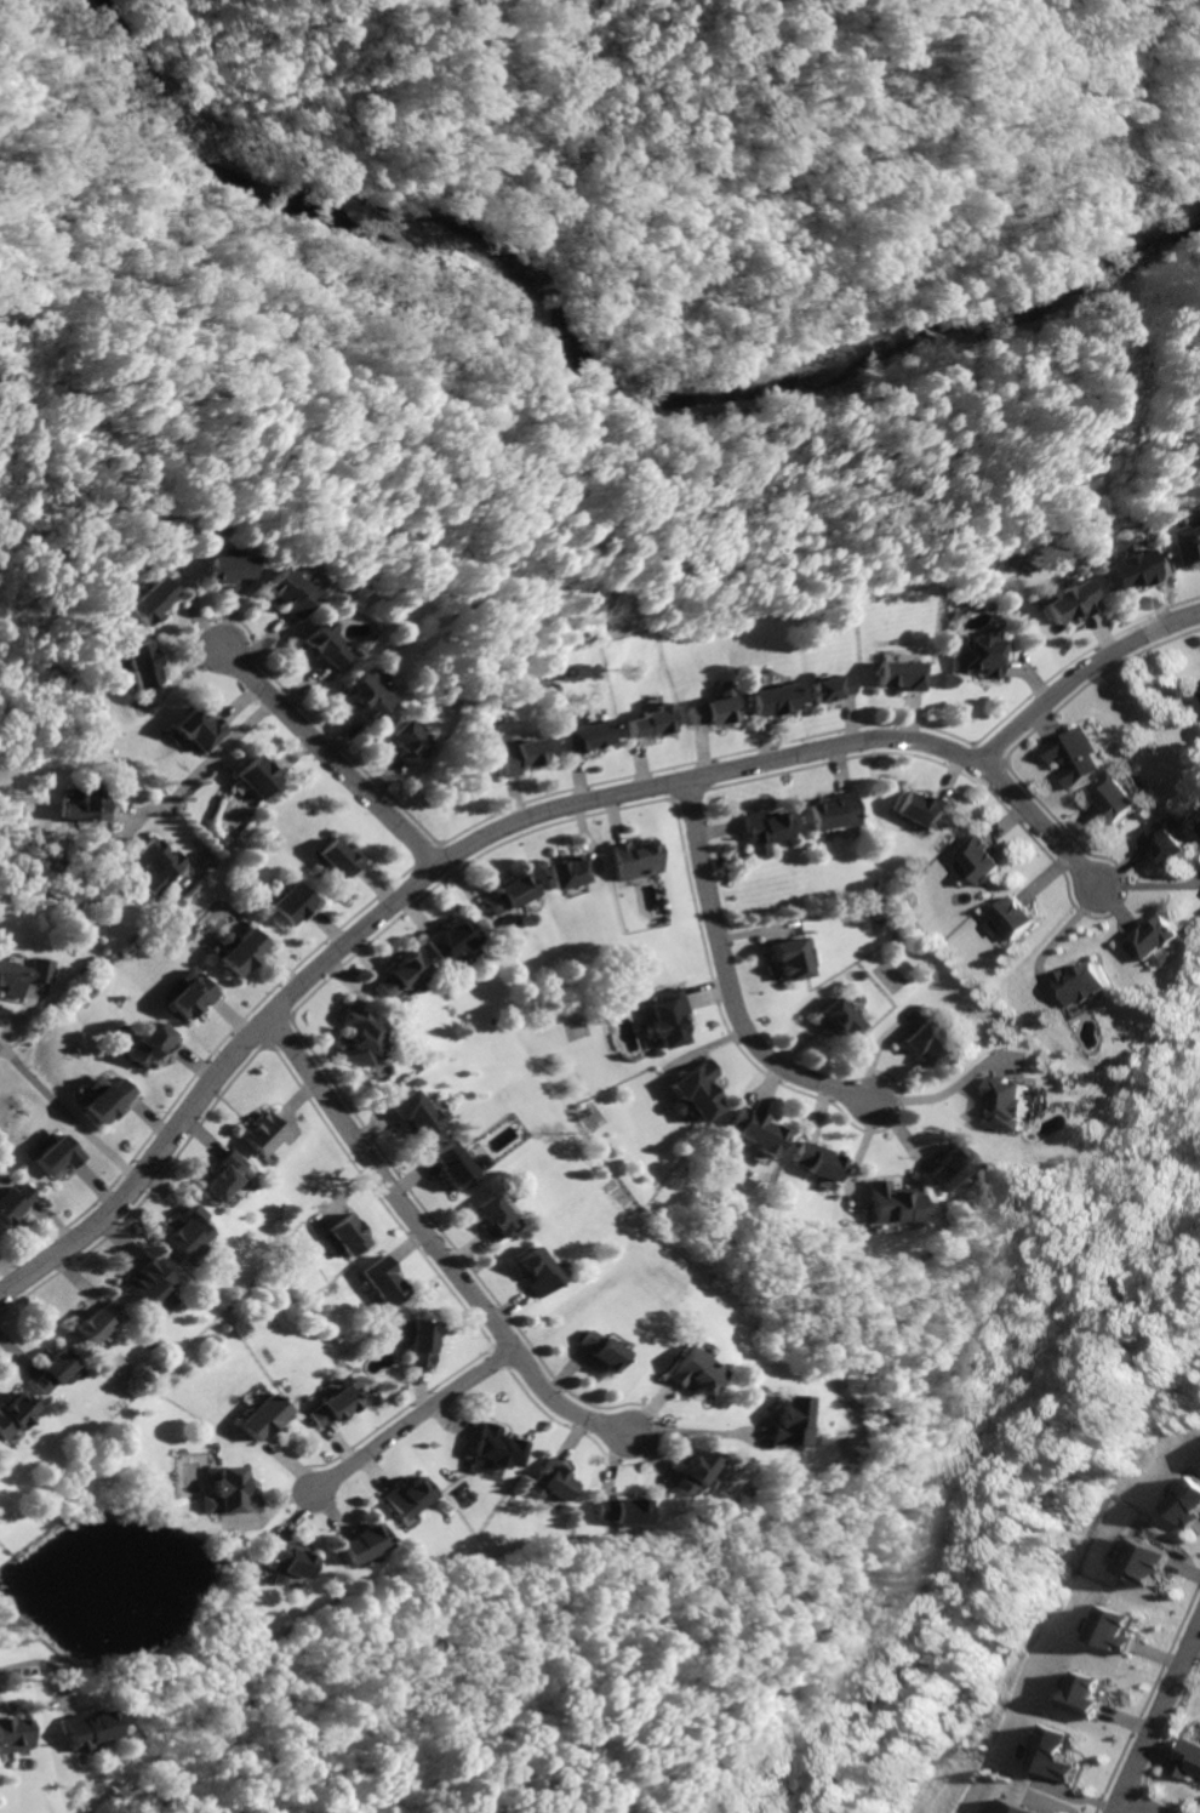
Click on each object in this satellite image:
building: (1184, 537)
building: (215, 565)
building: (1124, 572)
building: (282, 594)
building: (147, 602)
building: (1063, 603)
building: (319, 644)
building: (975, 657)
building: (141, 665)
building: (896, 675)
road: (1081, 675)
building: (828, 688)
building: (1199, 689)
building: (365, 697)
building: (768, 701)
building: (704, 713)
building: (644, 724)
building: (199, 729)
building: (578, 737)
building: (405, 742)
road: (217, 752)
building: (513, 756)
building: (1075, 756)
road: (327, 758)
building: (256, 776)
building: (1119, 802)
building: (87, 805)
building: (925, 809)
building: (839, 811)
road: (138, 814)
building: (767, 831)
road: (490, 834)
building: (1166, 843)
road: (205, 848)
building: (338, 857)
building: (155, 860)
building: (635, 860)
building: (978, 860)
building: (566, 871)
road: (1148, 886)
building: (509, 895)
building: (288, 903)
building: (1013, 918)
building: (1159, 939)
building: (448, 940)
road: (1045, 948)
building: (241, 951)
building: (794, 956)
building: (400, 975)
road: (730, 979)
building: (10, 981)
building: (1081, 982)
building: (192, 996)
road: (28, 1009)
building: (670, 1017)
building: (841, 1019)
building: (358, 1036)
building: (152, 1044)
building: (933, 1044)
road: (956, 1084)
building: (698, 1090)
building: (108, 1100)
building: (1008, 1104)
road: (69, 1114)
building: (418, 1114)
building: (758, 1130)
building: (262, 1133)
building: (57, 1156)
building: (819, 1161)
building: (479, 1162)
building: (455, 1167)
building: (949, 1167)
building: (223, 1175)
building: (892, 1202)
building: (15, 1203)
building: (495, 1219)
building: (183, 1233)
building: (348, 1233)
road: (434, 1247)
building: (533, 1272)
building: (381, 1279)
building: (149, 1281)
building: (97, 1321)
building: (416, 1341)
building: (594, 1350)
building: (691, 1370)
building: (52, 1372)
building: (332, 1408)
building: (13, 1414)
building: (263, 1419)
road: (411, 1421)
building: (787, 1421)
road: (698, 1432)
building: (498, 1446)
building: (695, 1472)
building: (554, 1481)
building: (230, 1493)
building: (407, 1498)
building: (1189, 1503)
building: (624, 1511)
building: (364, 1543)
building: (1147, 1560)
building: (287, 1561)
building: (1116, 1627)
road: (17, 1669)
road: (58, 1687)
building: (1087, 1695)
road: (1154, 1711)
building: (86, 1731)
building: (11, 1733)
building: (1056, 1751)
building: (1187, 1757)
road: (1136, 1805)
building: (1013, 1807)

